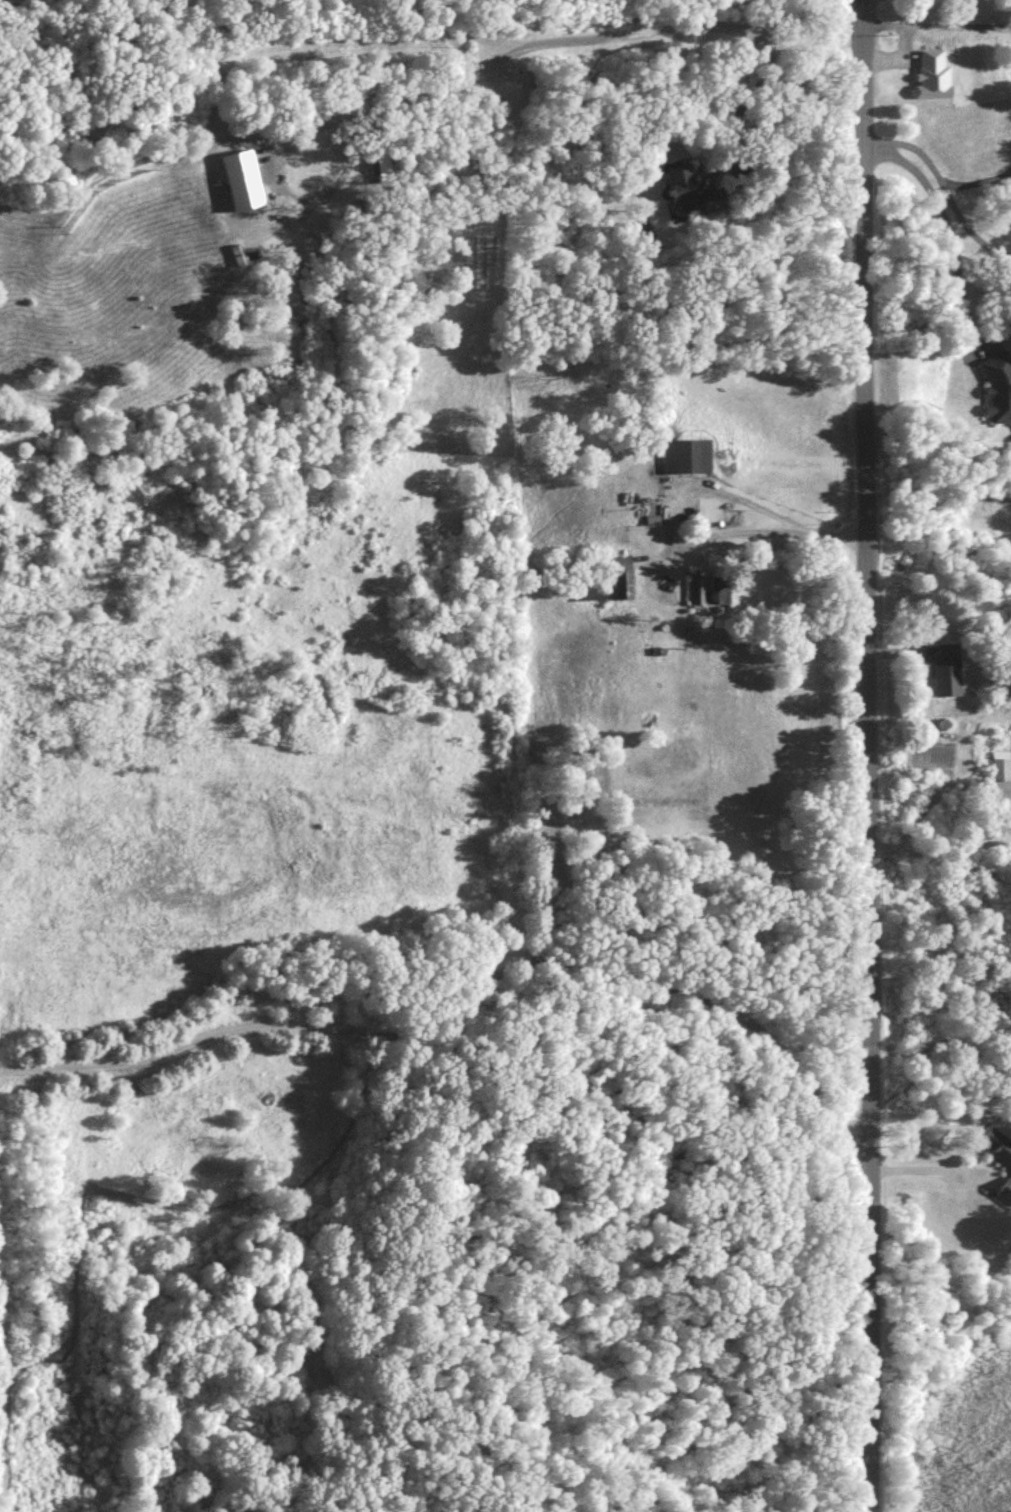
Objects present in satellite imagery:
road: (667, 27)
road: (767, 101)
road: (381, 103)
road: (975, 181)
road: (943, 189)
building: (685, 194)
road: (944, 229)
building: (998, 393)
building: (683, 461)
road: (679, 539)
building: (625, 582)
building: (711, 594)
building: (947, 675)
road: (868, 755)
building: (1002, 773)
road: (474, 1005)
building: (998, 1164)
road: (928, 1173)

